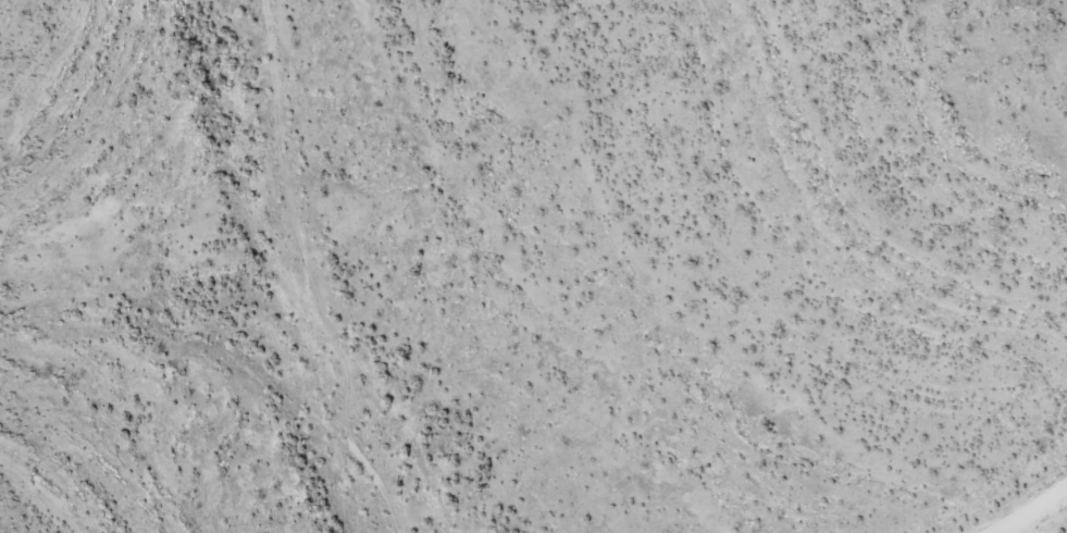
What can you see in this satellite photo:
road: (1052, 520)

